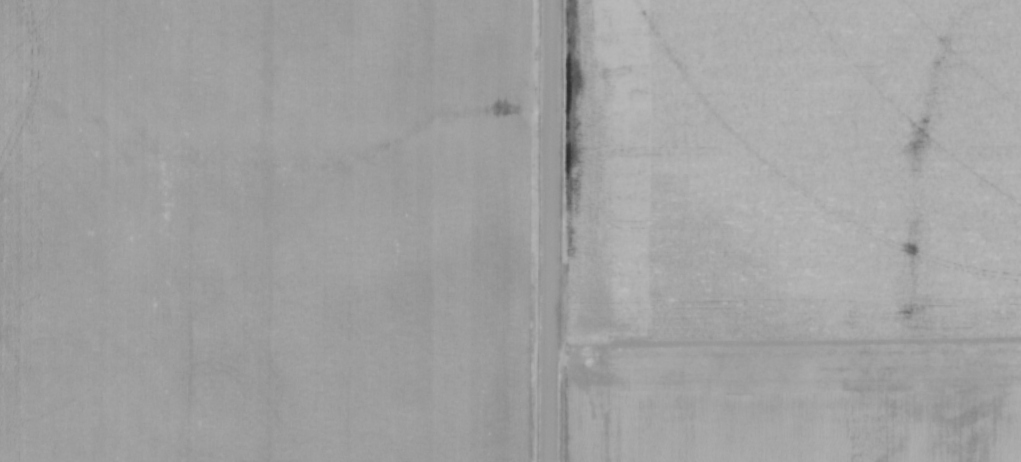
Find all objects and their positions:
road: (550, 230)

